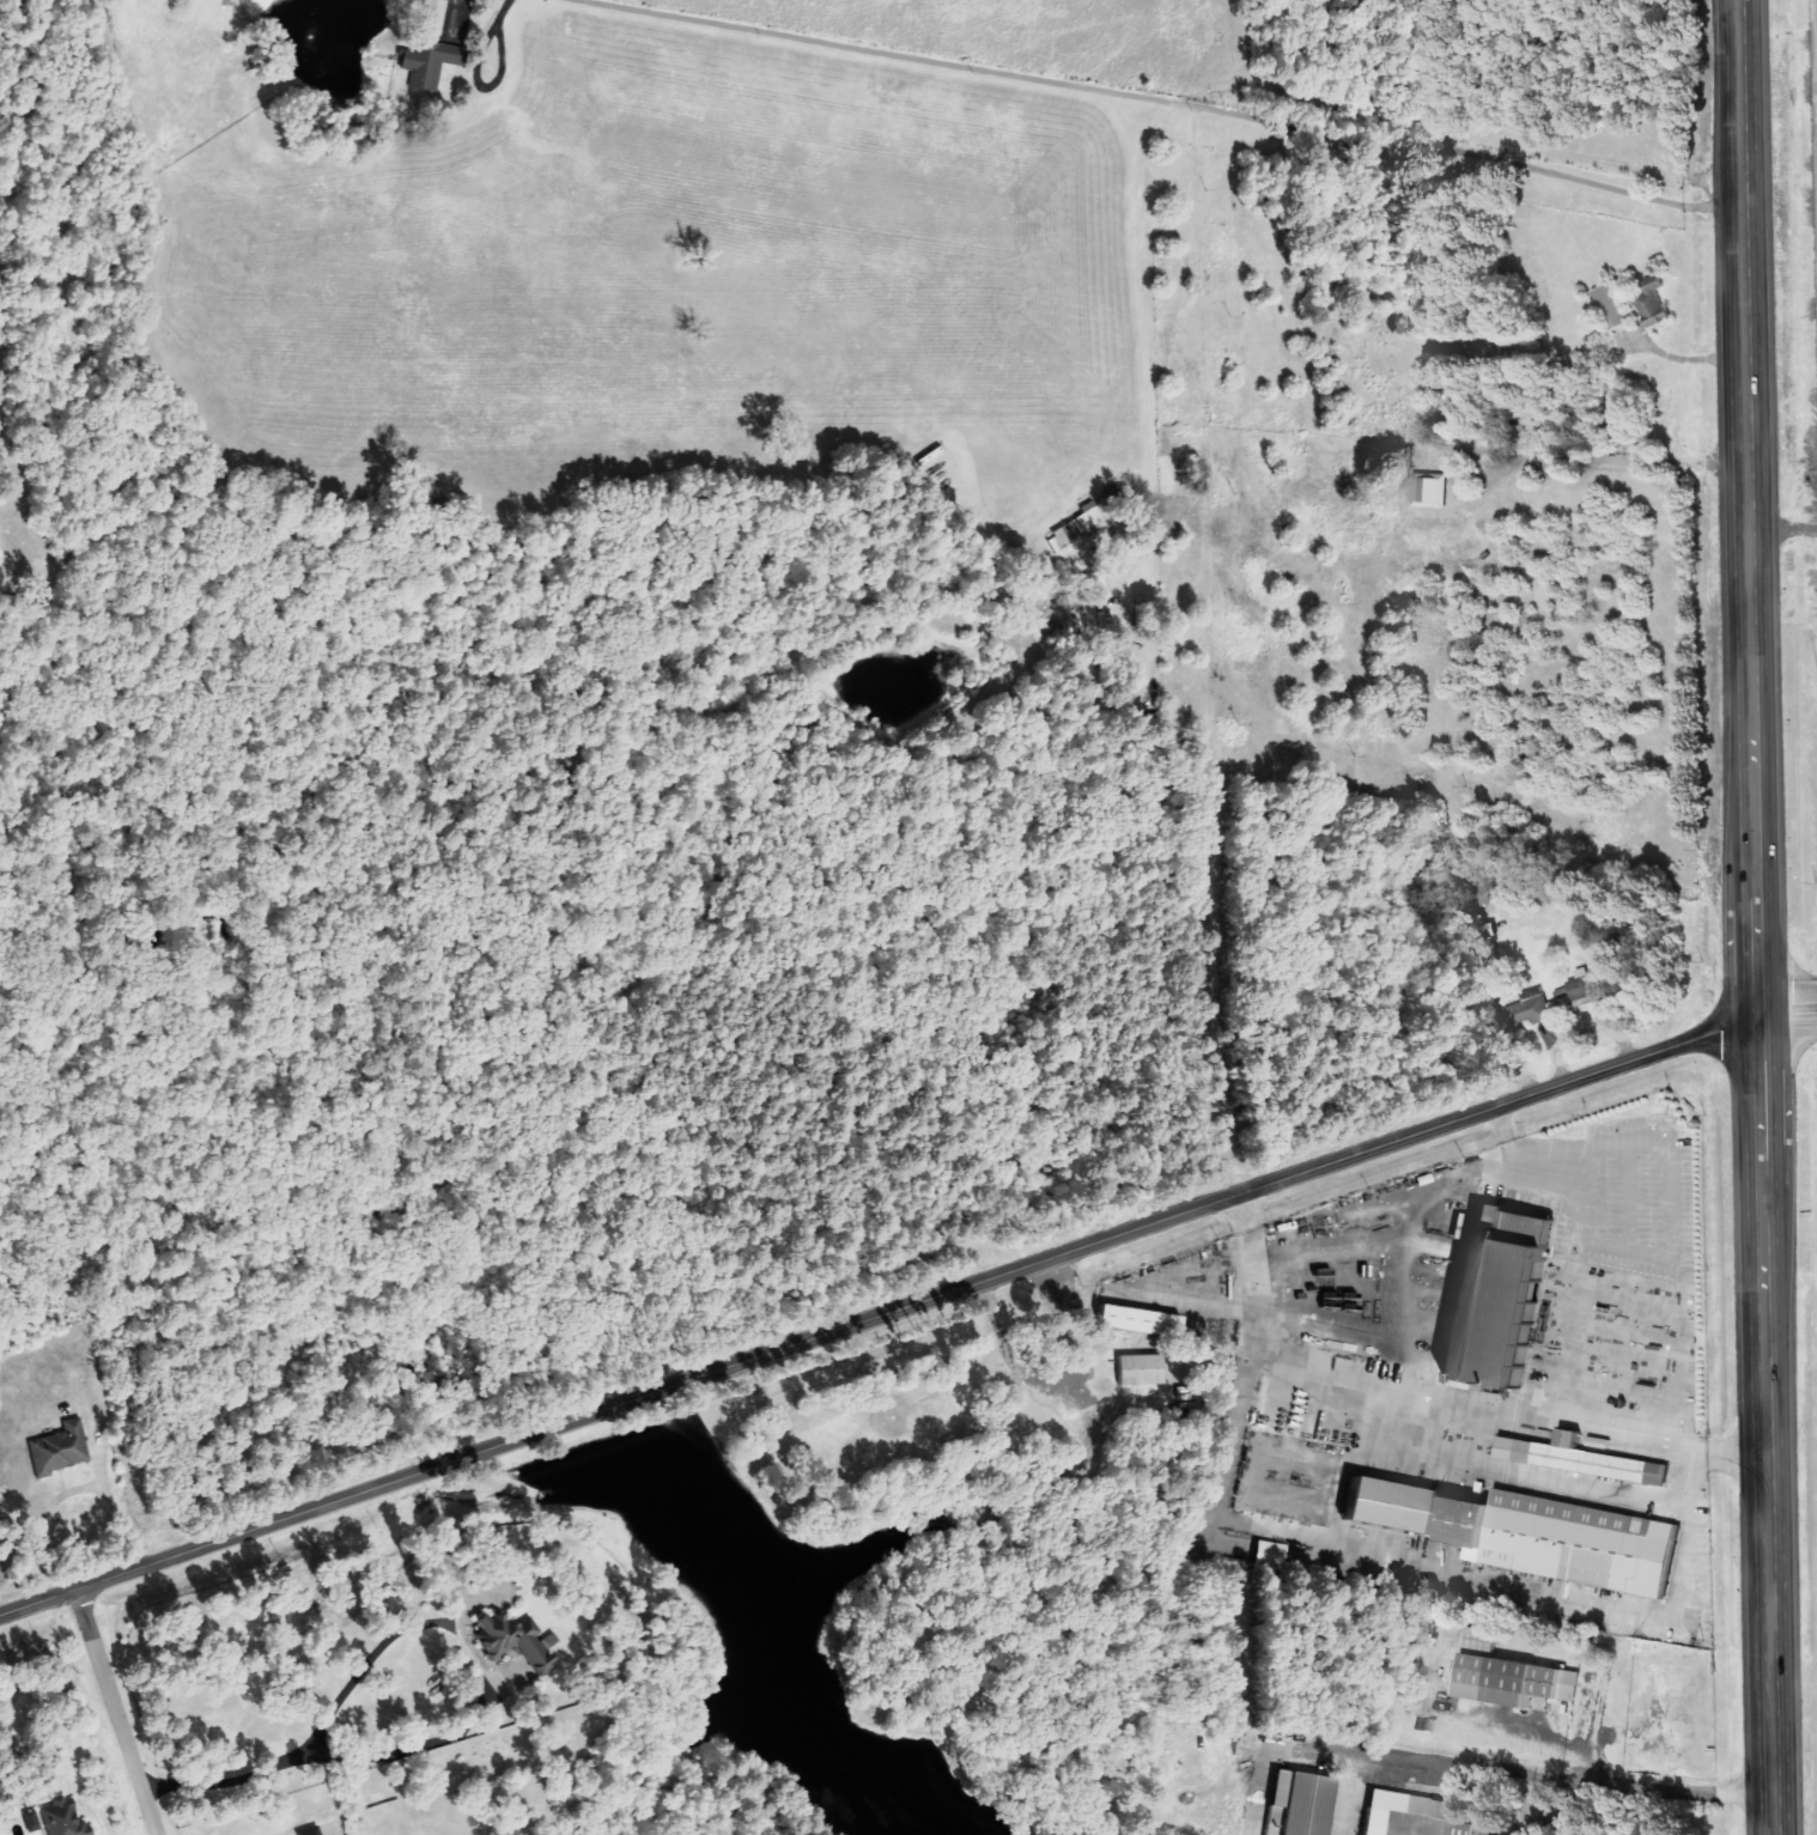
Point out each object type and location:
building: (434, 60)
airport: (1813, 124)
building: (1657, 302)
building: (1616, 309)
building: (1485, 883)
road: (1756, 917)
building: (1585, 989)
road: (1787, 989)
building: (1529, 1009)
road: (1788, 1028)
building: (1497, 1294)
road: (877, 1316)
building: (1140, 1319)
building: (1134, 1369)
road: (1436, 1403)
dam: (598, 1434)
building: (59, 1448)
building: (1580, 1456)
building: (1531, 1531)
building: (1264, 1553)
building: (1479, 1637)
building: (512, 1640)
building: (1517, 1677)
road: (116, 1712)
building: (1296, 1803)
building: (1417, 1816)
building: (62, 1818)
building: (35, 1821)
building: (306, 1831)

